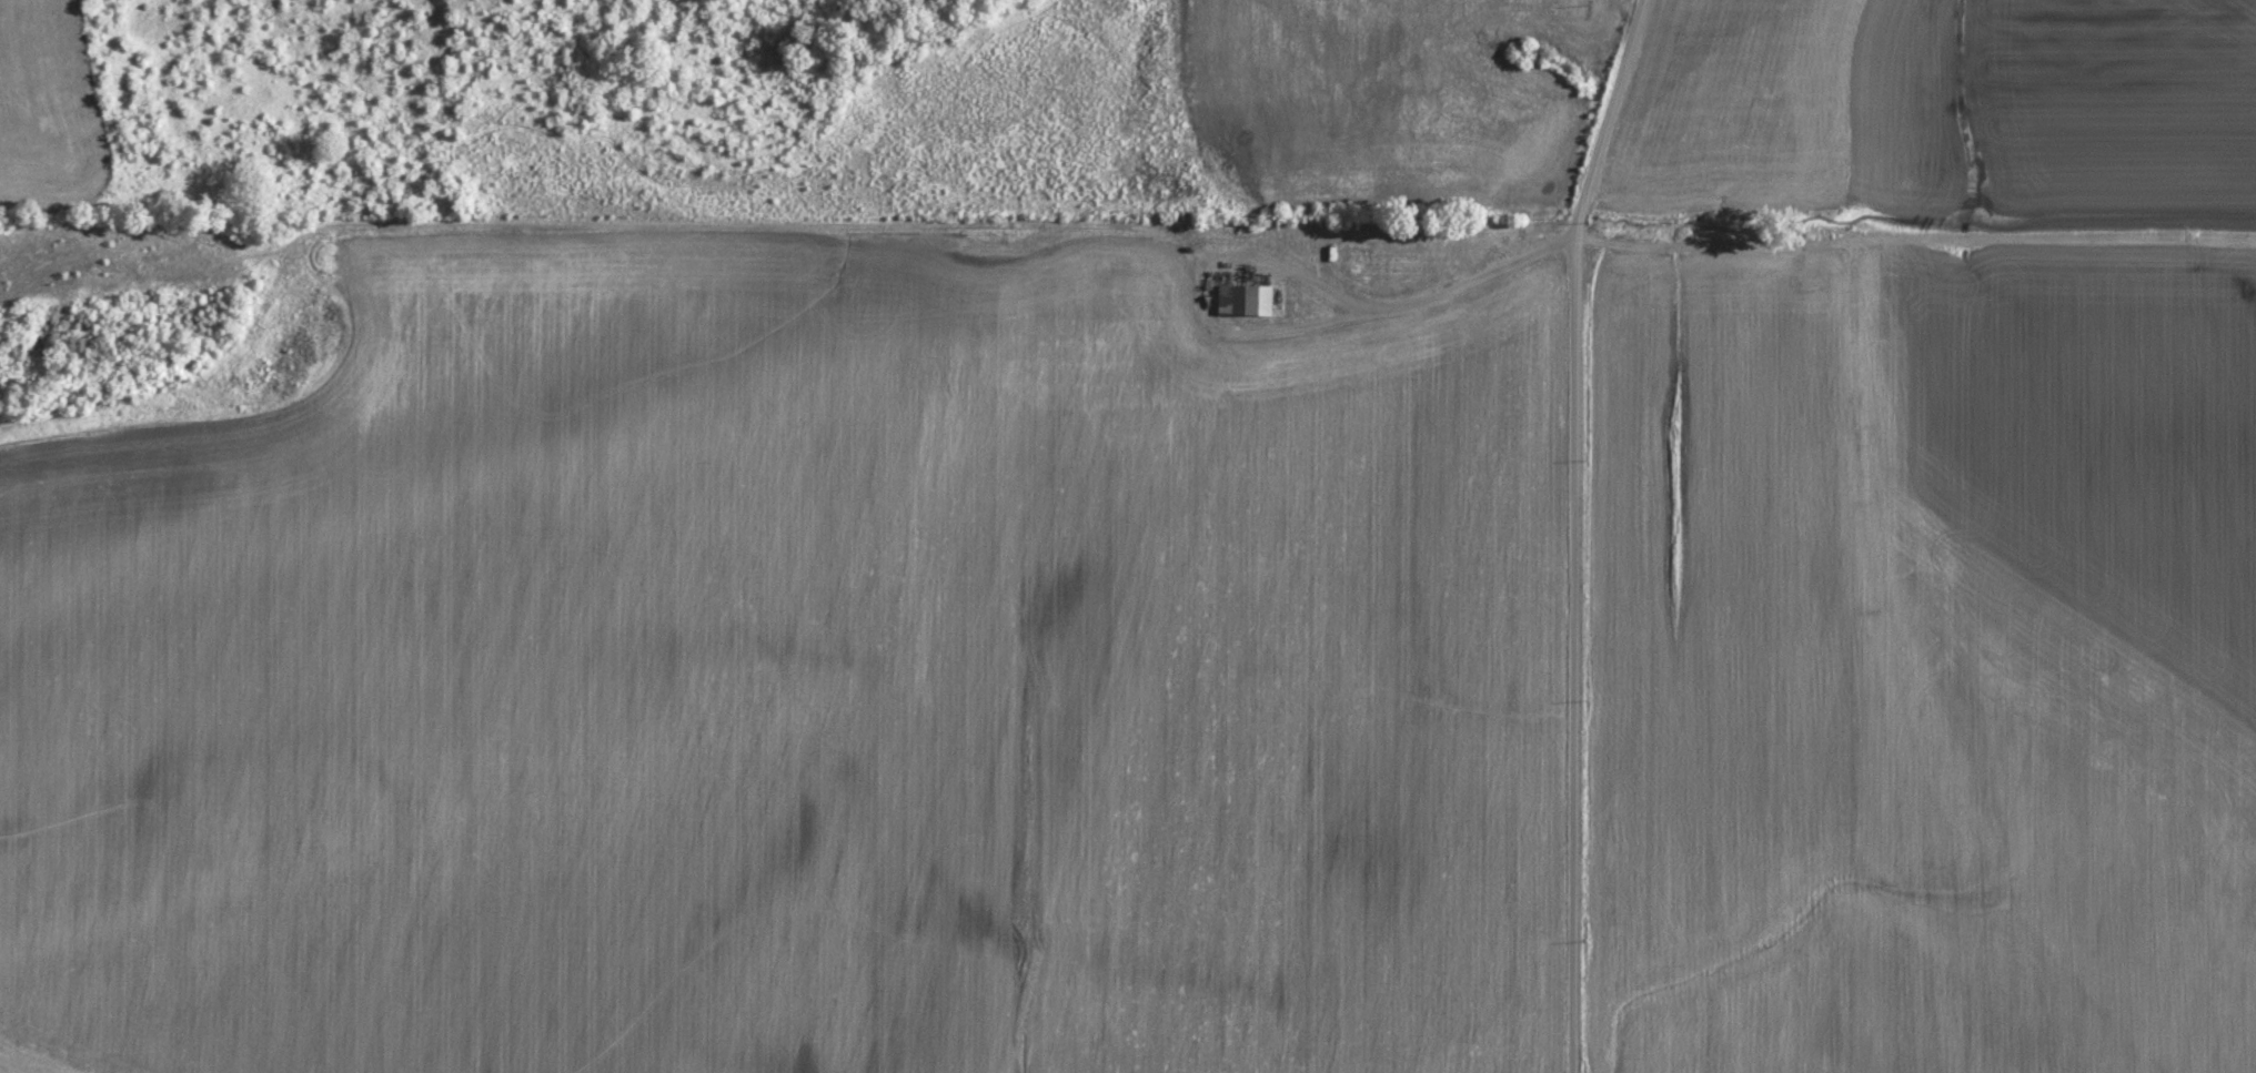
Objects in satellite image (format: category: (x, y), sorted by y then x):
road: (1473, 287)
building: (1237, 301)
road: (1219, 307)
road: (1579, 530)

